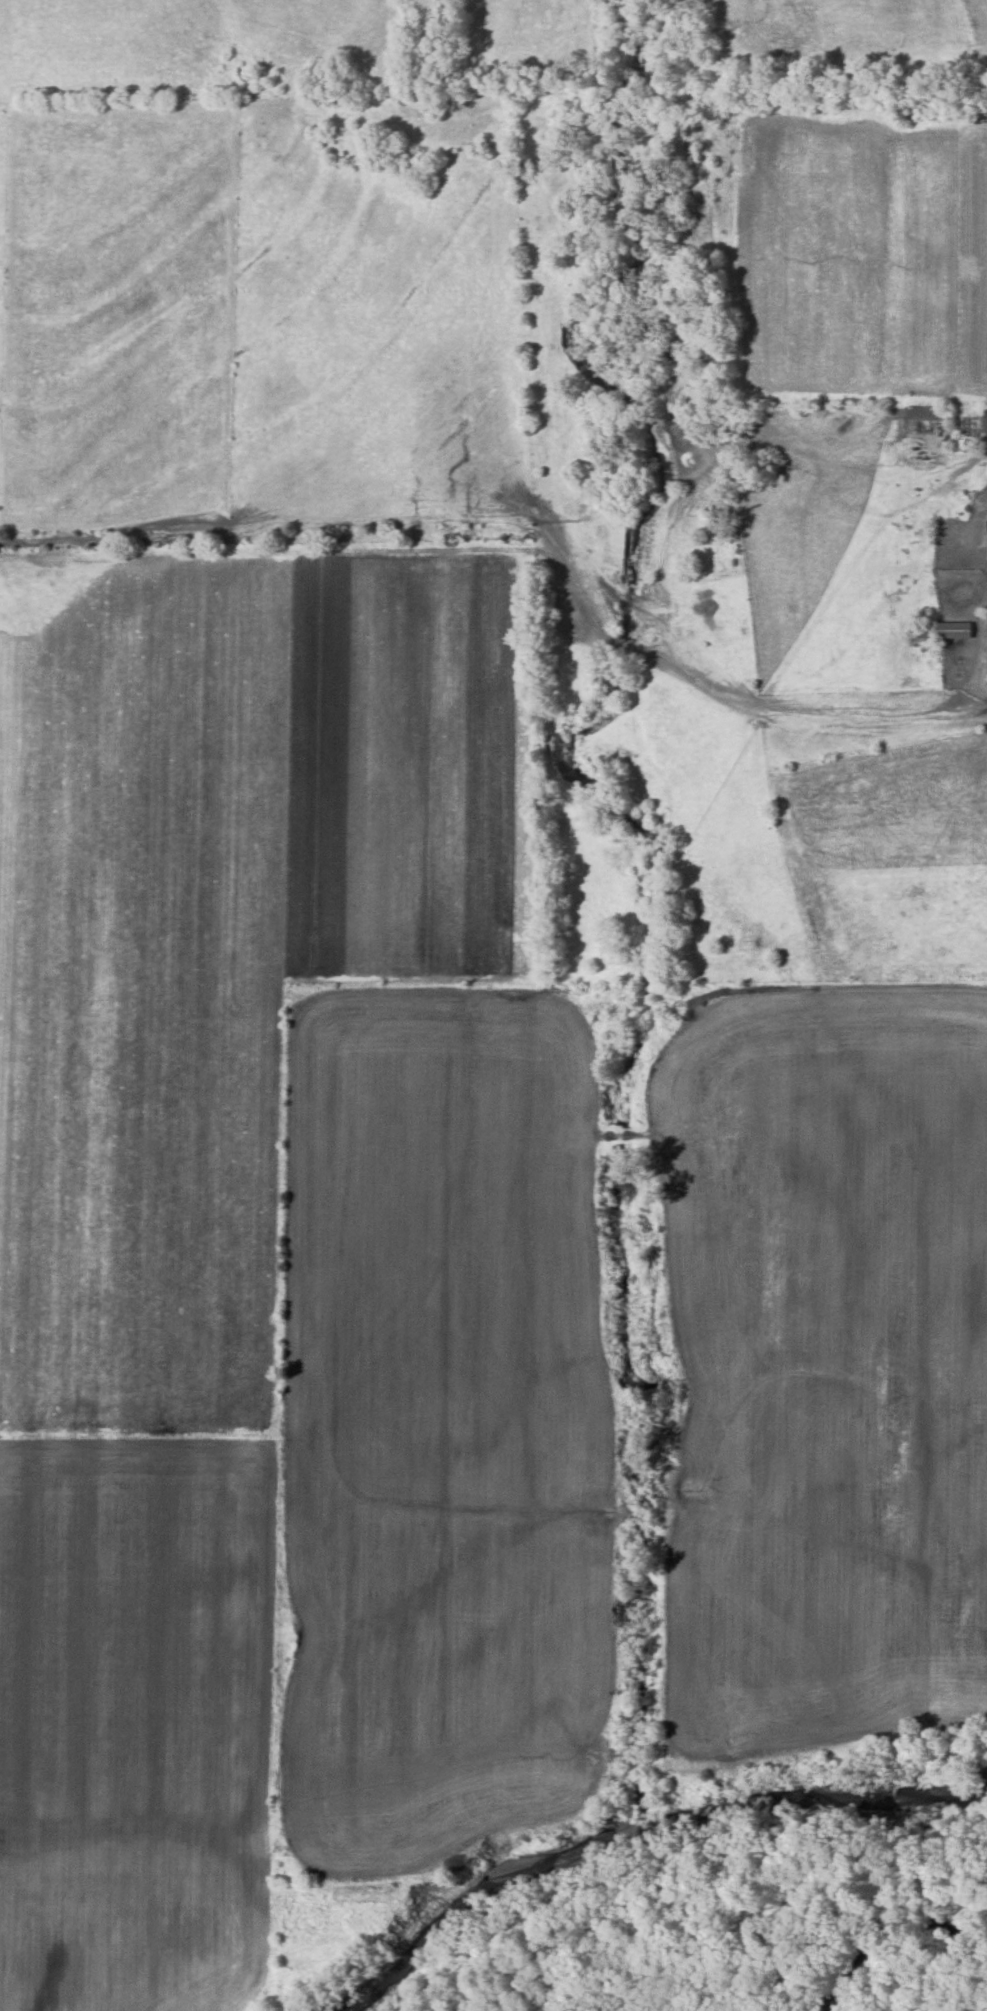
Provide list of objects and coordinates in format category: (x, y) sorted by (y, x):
building: (982, 422)
building: (939, 631)

